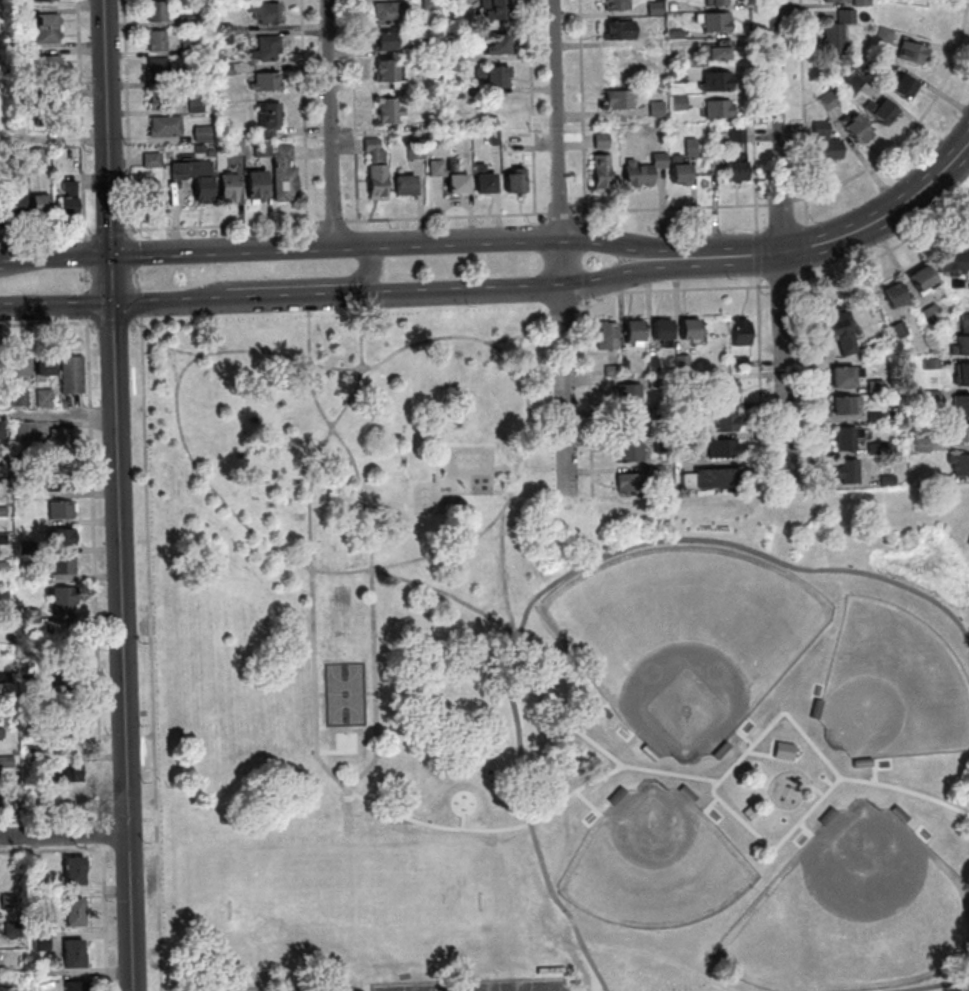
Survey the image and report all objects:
building: (47, 1)
building: (837, 1)
building: (717, 2)
building: (863, 3)
building: (453, 4)
building: (431, 5)
building: (619, 5)
building: (673, 7)
building: (497, 8)
building: (657, 8)
building: (159, 11)
building: (267, 12)
building: (393, 13)
building: (48, 21)
building: (189, 21)
building: (719, 23)
building: (226, 28)
building: (621, 30)
building: (840, 34)
building: (49, 35)
building: (678, 35)
building: (887, 35)
building: (226, 39)
building: (385, 40)
building: (159, 41)
building: (658, 43)
building: (499, 44)
building: (432, 46)
building: (190, 47)
building: (268, 48)
building: (914, 52)
building: (721, 53)
building: (455, 54)
building: (49, 62)
building: (877, 63)
road: (81, 64)
building: (159, 69)
building: (226, 70)
building: (390, 74)
building: (50, 76)
building: (495, 76)
building: (679, 76)
building: (189, 80)
building: (268, 82)
building: (719, 82)
building: (855, 84)
building: (901, 84)
building: (456, 92)
building: (162, 99)
building: (621, 100)
building: (830, 101)
building: (51, 103)
building: (681, 103)
building: (20, 106)
building: (198, 106)
road: (534, 107)
building: (658, 109)
building: (720, 109)
road: (357, 110)
building: (883, 110)
road: (306, 111)
road: (585, 111)
building: (391, 112)
road: (804, 112)
road: (754, 116)
building: (52, 118)
road: (129, 118)
building: (270, 118)
road: (333, 123)
building: (167, 126)
building: (422, 126)
road: (109, 127)
building: (860, 129)
road: (912, 131)
building: (204, 134)
building: (739, 135)
building: (496, 138)
building: (603, 140)
building: (827, 143)
building: (692, 147)
building: (201, 148)
building: (237, 148)
building: (264, 148)
building: (417, 152)
building: (212, 153)
building: (38, 156)
building: (154, 160)
road: (949, 167)
building: (738, 168)
building: (378, 169)
building: (603, 170)
building: (645, 170)
building: (681, 170)
building: (286, 174)
building: (451, 175)
building: (197, 177)
building: (486, 179)
building: (516, 181)
building: (407, 184)
road: (85, 185)
building: (259, 186)
building: (231, 187)
building: (151, 195)
road: (948, 196)
building: (69, 199)
building: (15, 201)
building: (41, 203)
road: (783, 203)
road: (672, 209)
road: (562, 214)
road: (447, 217)
road: (333, 222)
road: (223, 226)
road: (860, 230)
road: (110, 234)
road: (586, 237)
road: (47, 238)
road: (559, 239)
road: (782, 244)
road: (564, 247)
road: (809, 247)
road: (224, 250)
traffic signals: (113, 254)
road: (134, 254)
road: (758, 254)
road: (58, 255)
road: (884, 255)
road: (87, 256)
road: (2, 257)
road: (586, 259)
building: (957, 259)
road: (366, 273)
road: (86, 279)
road: (114, 279)
road: (136, 279)
building: (924, 279)
road: (586, 283)
road: (785, 285)
road: (566, 287)
road: (671, 289)
building: (896, 295)
road: (284, 298)
road: (140, 302)
road: (86, 303)
road: (169, 303)
traffic signals: (115, 305)
road: (57, 306)
road: (562, 311)
building: (933, 313)
road: (112, 324)
road: (47, 325)
building: (661, 327)
building: (689, 327)
building: (740, 330)
building: (841, 330)
building: (900, 330)
building: (632, 331)
building: (606, 333)
road: (521, 335)
building: (963, 340)
road: (162, 343)
road: (517, 351)
road: (760, 356)
building: (681, 360)
building: (739, 360)
road: (172, 363)
building: (933, 364)
building: (623, 365)
building: (652, 365)
building: (43, 366)
building: (18, 367)
building: (611, 369)
building: (963, 375)
building: (71, 376)
building: (846, 376)
road: (812, 378)
building: (656, 381)
building: (687, 381)
building: (877, 386)
building: (727, 390)
building: (627, 391)
road: (589, 397)
building: (934, 398)
building: (17, 400)
building: (42, 400)
building: (848, 404)
building: (64, 405)
building: (962, 406)
building: (686, 412)
building: (658, 413)
road: (59, 417)
building: (877, 417)
building: (725, 418)
building: (630, 420)
building: (24, 432)
building: (959, 432)
building: (1, 433)
road: (773, 435)
building: (848, 438)
building: (686, 439)
building: (62, 443)
building: (661, 443)
building: (924, 445)
building: (722, 446)
building: (881, 449)
building: (628, 451)
building: (961, 465)
building: (654, 470)
building: (850, 472)
building: (714, 476)
building: (890, 481)
building: (629, 482)
building: (58, 485)
road: (806, 488)
road: (501, 492)
building: (60, 512)
building: (2, 514)
road: (237, 518)
building: (59, 540)
building: (2, 541)
road: (309, 542)
road: (369, 542)
building: (25, 550)
building: (62, 567)
building: (2, 569)
road: (95, 571)
road: (502, 573)
road: (558, 579)
building: (29, 580)
building: (3, 597)
building: (62, 600)
road: (486, 616)
building: (31, 618)
building: (4, 624)
park: (683, 638)
road: (124, 648)
building: (4, 652)
road: (154, 653)
building: (59, 654)
building: (64, 678)
building: (5, 680)
park: (892, 687)
park: (533, 690)
road: (369, 692)
road: (319, 694)
park: (344, 694)
road: (743, 722)
building: (1, 735)
building: (62, 738)
park: (345, 742)
building: (782, 750)
road: (325, 751)
road: (766, 754)
building: (34, 757)
road: (882, 758)
building: (6, 764)
road: (630, 765)
building: (67, 775)
road: (828, 781)
road: (834, 782)
road: (814, 788)
road: (904, 790)
road: (347, 795)
building: (1, 806)
road: (597, 817)
road: (711, 818)
road: (128, 821)
road: (152, 821)
road: (55, 822)
road: (462, 822)
road: (489, 828)
road: (65, 835)
road: (104, 835)
road: (802, 843)
road: (130, 849)
road: (153, 849)
road: (57, 851)
park: (654, 862)
building: (38, 865)
building: (76, 865)
building: (76, 879)
building: (41, 886)
building: (42, 899)
building: (9, 902)
park: (356, 904)
building: (75, 906)
park: (852, 911)
road: (107, 918)
building: (75, 920)
building: (44, 927)
building: (13, 930)
building: (43, 943)
building: (75, 947)
building: (75, 961)
building: (552, 970)
road: (350, 973)
road: (350, 976)
building: (714, 976)
road: (594, 979)
building: (14, 983)
road: (582, 985)
road: (940, 985)
building: (78, 986)
park: (480, 986)
park: (294, 989)

